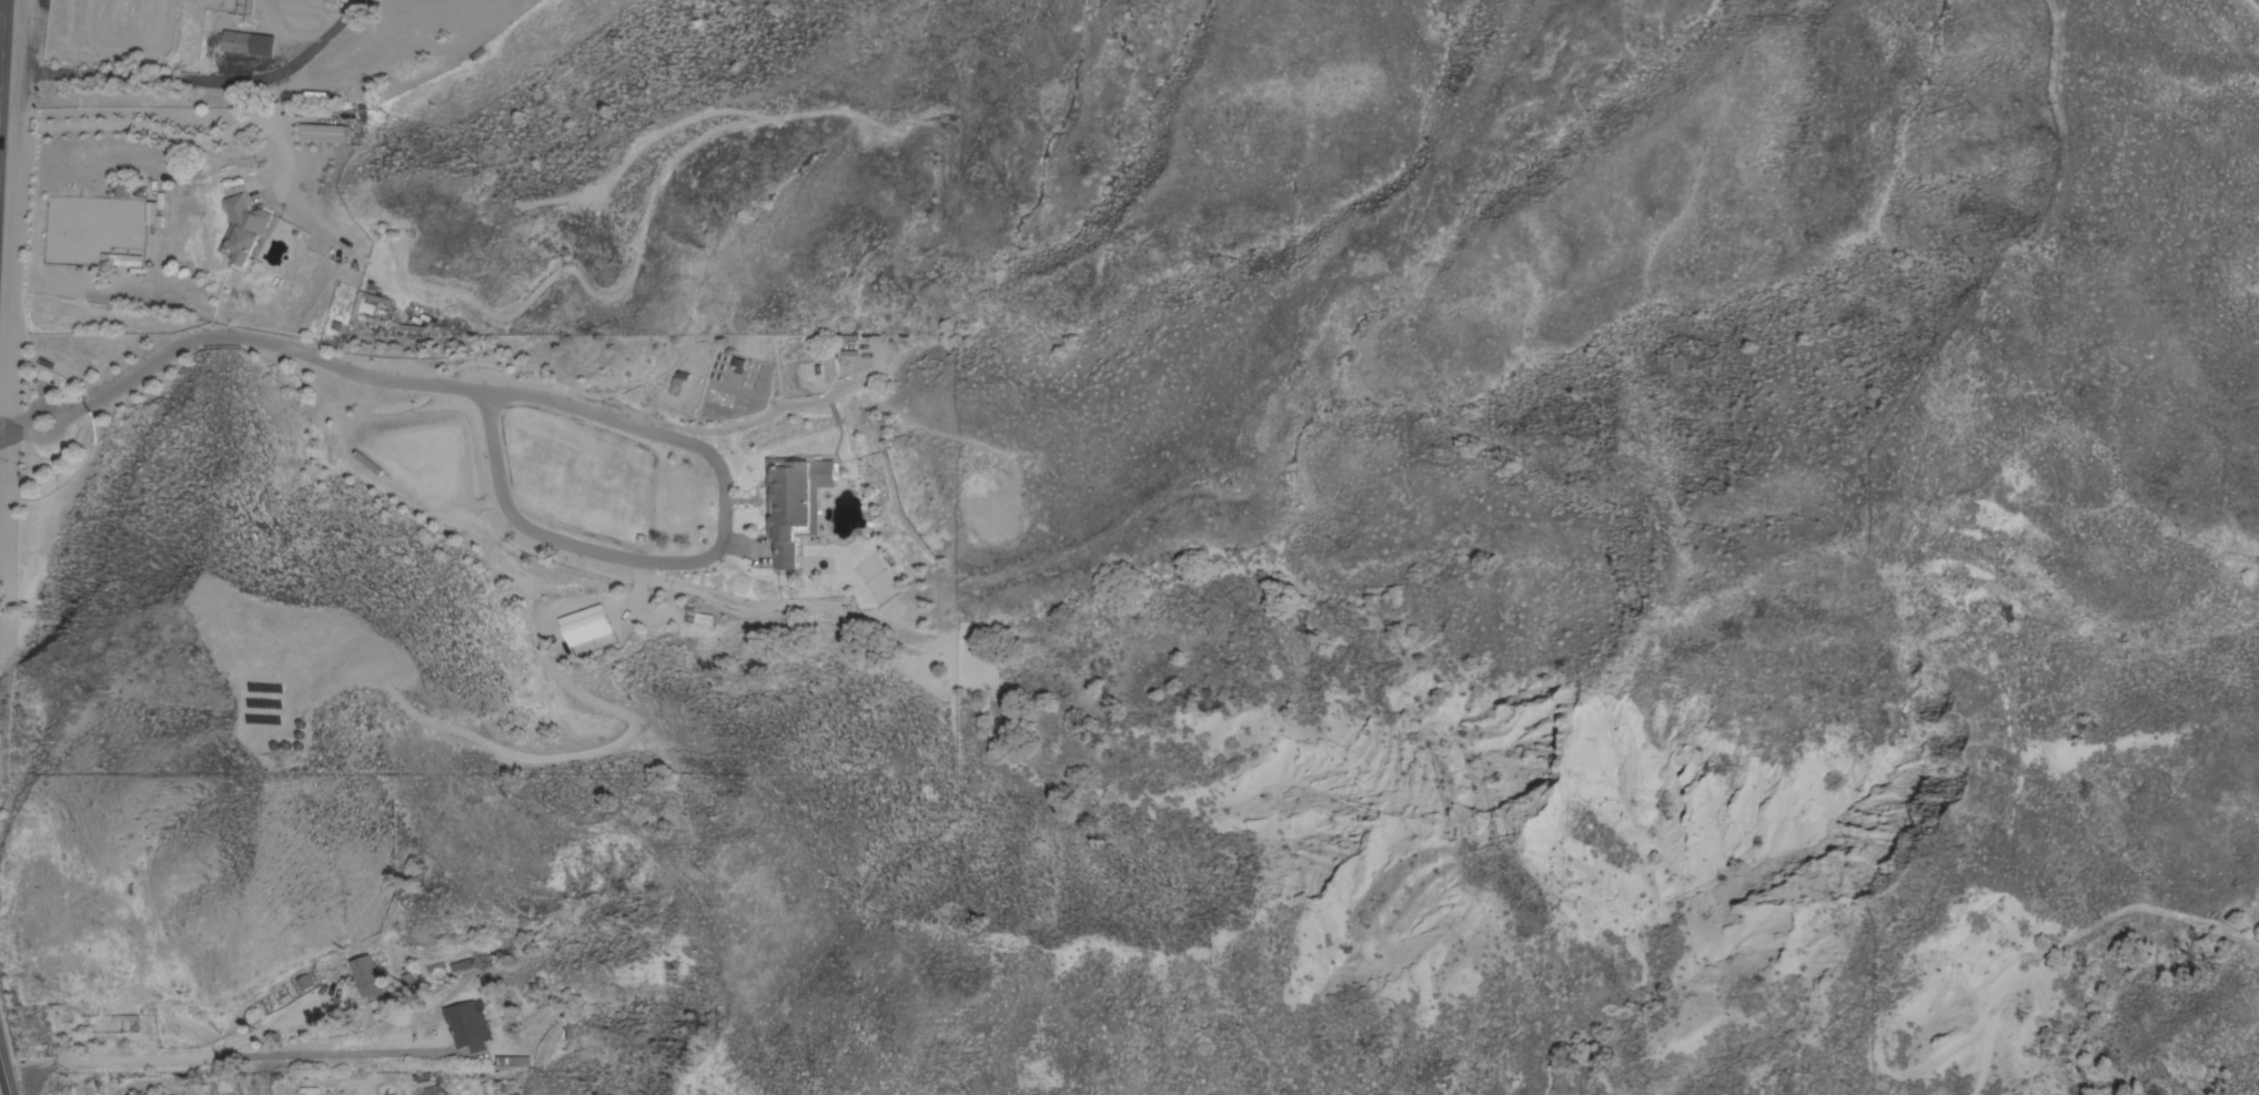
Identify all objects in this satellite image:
road: (0, 8)
road: (0, 19)
building: (249, 42)
road: (195, 79)
building: (322, 133)
road: (171, 136)
building: (124, 190)
building: (243, 231)
building: (121, 260)
building: (367, 307)
road: (81, 406)
road: (22, 425)
building: (795, 503)
road: (526, 528)
building: (695, 616)
building: (584, 625)
building: (458, 964)
building: (366, 976)
building: (302, 982)
building: (467, 1025)
road: (232, 1059)
building: (511, 1061)
building: (214, 1078)
road: (3, 1081)
building: (428, 1091)

